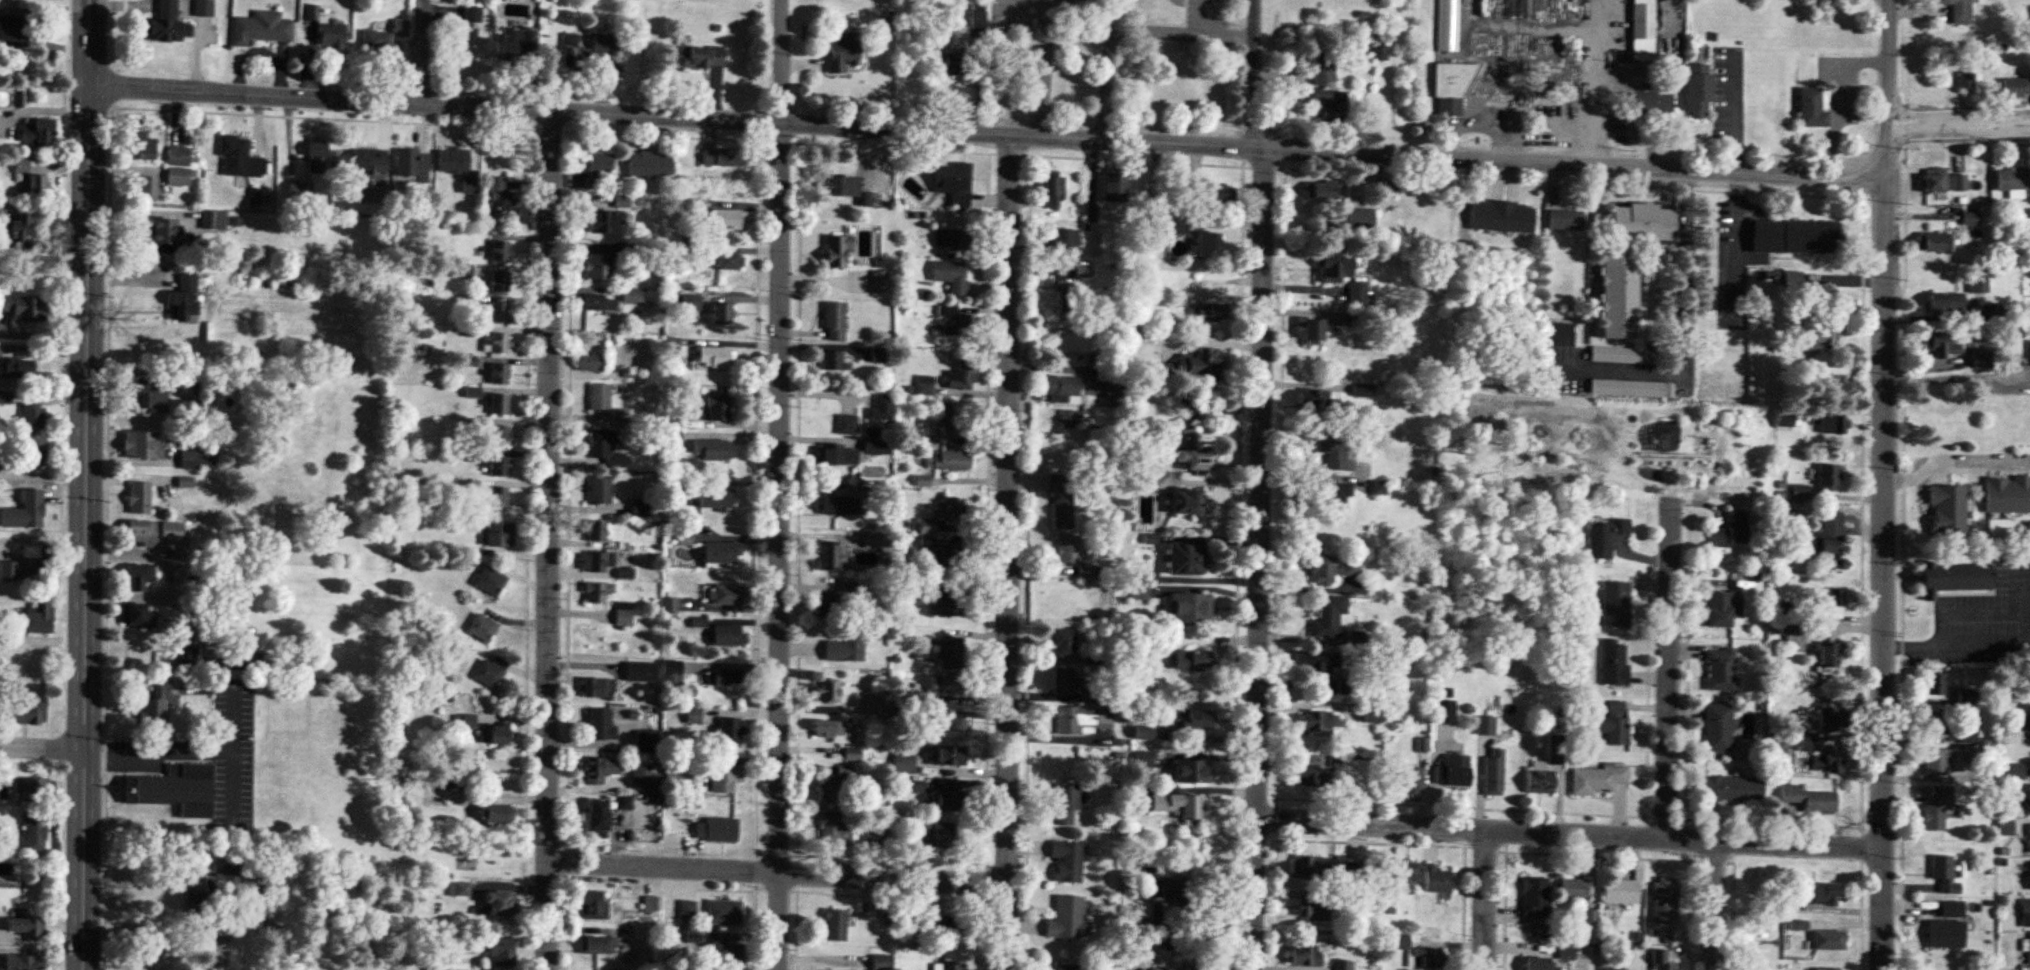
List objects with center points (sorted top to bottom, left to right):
building: (202, 7)
road: (1059, 7)
building: (1959, 11)
road: (1075, 12)
road: (1595, 17)
road: (1023, 19)
building: (977, 20)
building: (165, 24)
building: (1448, 26)
building: (10, 27)
building: (1643, 27)
building: (260, 29)
road: (1520, 31)
building: (330, 34)
road: (1159, 34)
building: (384, 35)
building: (471, 35)
road: (1216, 36)
building: (514, 44)
building: (604, 44)
road: (424, 51)
building: (570, 51)
building: (842, 52)
building: (698, 57)
building: (954, 61)
road: (1889, 63)
building: (1321, 70)
building: (1965, 79)
building: (2016, 87)
building: (1451, 89)
building: (1698, 91)
building: (1540, 96)
road: (1591, 98)
road: (1836, 99)
building: (1653, 103)
building: (1331, 105)
building: (1812, 108)
road: (1732, 114)
road: (674, 115)
road: (1959, 124)
road: (1475, 129)
building: (35, 133)
building: (140, 146)
road: (1887, 149)
building: (316, 156)
building: (238, 157)
building: (724, 158)
building: (368, 160)
road: (1572, 160)
building: (412, 164)
building: (20, 166)
building: (456, 166)
building: (649, 166)
building: (177, 167)
building: (600, 168)
building: (2013, 179)
building: (1935, 180)
building: (36, 183)
building: (1960, 183)
building: (952, 185)
building: (839, 186)
building: (1114, 187)
building: (145, 189)
building: (300, 190)
building: (1053, 190)
building: (1327, 191)
building: (500, 195)
building: (1210, 195)
building: (624, 202)
building: (1091, 213)
building: (1502, 216)
building: (1970, 218)
building: (1565, 219)
building: (729, 220)
building: (603, 221)
building: (1359, 221)
building: (1641, 221)
building: (1176, 224)
building: (15, 231)
building: (161, 232)
building: (1796, 237)
building: (956, 238)
building: (1064, 238)
building: (1932, 242)
road: (1737, 244)
building: (1208, 245)
building: (499, 250)
building: (837, 251)
building: (727, 261)
building: (598, 266)
building: (1333, 266)
building: (460, 271)
building: (951, 276)
building: (1978, 280)
building: (499, 281)
building: (1618, 292)
building: (1358, 295)
building: (183, 299)
building: (1067, 301)
building: (691, 302)
building: (599, 303)
building: (1946, 303)
building: (23, 307)
building: (1208, 311)
building: (499, 312)
building: (720, 313)
building: (834, 321)
building: (953, 322)
road: (1685, 328)
building: (1312, 330)
building: (1823, 335)
building: (496, 343)
building: (1942, 346)
building: (879, 355)
building: (712, 357)
building: (1980, 359)
building: (832, 360)
building: (590, 362)
building: (1201, 363)
building: (15, 366)
building: (498, 373)
building: (962, 375)
road: (1959, 376)
building: (924, 386)
building: (1063, 388)
building: (1363, 391)
building: (1117, 392)
building: (149, 396)
building: (5, 397)
building: (599, 397)
building: (1312, 399)
building: (499, 404)
building: (188, 407)
building: (718, 408)
building: (882, 408)
building: (33, 415)
building: (1072, 418)
building: (1785, 419)
building: (951, 420)
building: (1832, 424)
building: (847, 425)
building: (499, 435)
building: (1185, 438)
building: (874, 444)
building: (141, 445)
building: (1333, 447)
building: (607, 449)
building: (713, 450)
building: (32, 452)
building: (836, 455)
building: (1196, 459)
building: (197, 460)
building: (949, 461)
road: (1955, 465)
building: (498, 466)
building: (1829, 476)
road: (87, 484)
road: (1256, 484)
road: (781, 485)
building: (1378, 488)
building: (599, 490)
building: (1800, 494)
building: (2007, 494)
building: (498, 497)
building: (1333, 497)
building: (139, 498)
building: (714, 498)
building: (1062, 499)
building: (1186, 501)
building: (640, 508)
building: (953, 509)
building: (1948, 509)
building: (24, 511)
building: (172, 531)
building: (595, 531)
building: (1732, 531)
building: (142, 533)
building: (499, 535)
building: (1830, 537)
building: (1608, 539)
road: (552, 540)
building: (872, 542)
road: (1011, 551)
building: (721, 553)
building: (831, 556)
building: (1075, 556)
building: (1185, 558)
building: (597, 561)
building: (1332, 569)
road: (1886, 570)
building: (625, 573)
building: (138, 576)
building: (1955, 578)
building: (490, 581)
road: (173, 585)
building: (597, 592)
building: (728, 594)
building: (1832, 597)
building: (950, 602)
building: (669, 605)
building: (1616, 605)
building: (1187, 607)
building: (1721, 609)
road: (1974, 611)
building: (135, 614)
building: (624, 614)
building: (1328, 614)
building: (37, 619)
building: (482, 628)
road: (195, 632)
building: (727, 635)
building: (1063, 643)
road: (1996, 643)
building: (843, 647)
building: (950, 653)
building: (1829, 654)
building: (178, 656)
building: (239, 658)
building: (1189, 659)
building: (1320, 661)
building: (1721, 669)
building: (490, 672)
building: (640, 672)
building: (671, 672)
building: (725, 677)
road: (1669, 678)
building: (1068, 682)
building: (1935, 684)
building: (946, 685)
building: (598, 688)
building: (828, 690)
building: (1967, 697)
building: (876, 704)
building: (158, 705)
building: (24, 710)
building: (1445, 712)
building: (693, 716)
building: (1374, 717)
building: (1831, 718)
building: (2024, 718)
building: (1082, 719)
building: (1191, 719)
building: (465, 721)
building: (1319, 721)
building: (1614, 723)
building: (1937, 723)
building: (599, 724)
building: (1485, 725)
building: (948, 727)
building: (1718, 728)
building: (827, 729)
building: (728, 730)
building: (499, 734)
building: (1968, 735)
building: (644, 740)
building: (1809, 742)
road: (44, 744)
building: (1556, 750)
building: (1970, 753)
building: (852, 754)
road: (164, 755)
building: (947, 755)
building: (1829, 760)
building: (1939, 760)
building: (1144, 761)
building: (904, 764)
building: (594, 771)
building: (1453, 771)
building: (2015, 771)
building: (1190, 772)
building: (1494, 773)
building: (1311, 775)
building: (641, 777)
building: (726, 779)
building: (1412, 780)
building: (1599, 780)
building: (1540, 781)
building: (833, 784)
building: (915, 787)
building: (33, 788)
building: (175, 789)
building: (1734, 789)
building: (1810, 799)
building: (946, 800)
building: (624, 803)
building: (1067, 805)
building: (1176, 805)
building: (1938, 808)
building: (497, 813)
building: (596, 820)
building: (832, 828)
building: (2005, 828)
building: (716, 829)
road: (1570, 831)
building: (34, 832)
building: (876, 832)
building: (936, 832)
building: (2029, 839)
building: (1067, 862)
building: (1311, 866)
road: (779, 871)
building: (1944, 874)
building: (1406, 875)
building: (1437, 879)
building: (208, 888)
building: (1160, 888)
building: (1574, 890)
building: (1621, 892)
building: (1825, 894)
building: (1536, 897)
road: (1486, 898)
building: (1665, 901)
road: (1717, 904)
building: (497, 905)
building: (592, 906)
building: (1785, 908)
building: (1952, 909)
building: (688, 910)
building: (1311, 911)
building: (724, 912)
building: (2026, 912)
building: (1068, 919)
building: (835, 925)
building: (1798, 925)
building: (24, 926)
building: (949, 929)
road: (168, 932)
building: (1945, 933)
building: (1829, 940)
building: (598, 946)
building: (2029, 949)
building: (725, 951)
building: (1567, 952)
building: (499, 953)
building: (1305, 955)
building: (1427, 957)
building: (1661, 961)
building: (20, 962)
building: (881, 962)
building: (1539, 963)
building: (1342, 965)
building: (953, 966)
building: (1068, 967)
building: (434, 968)
building: (1172, 969)
building: (1762, 969)
building: (1827, 969)

